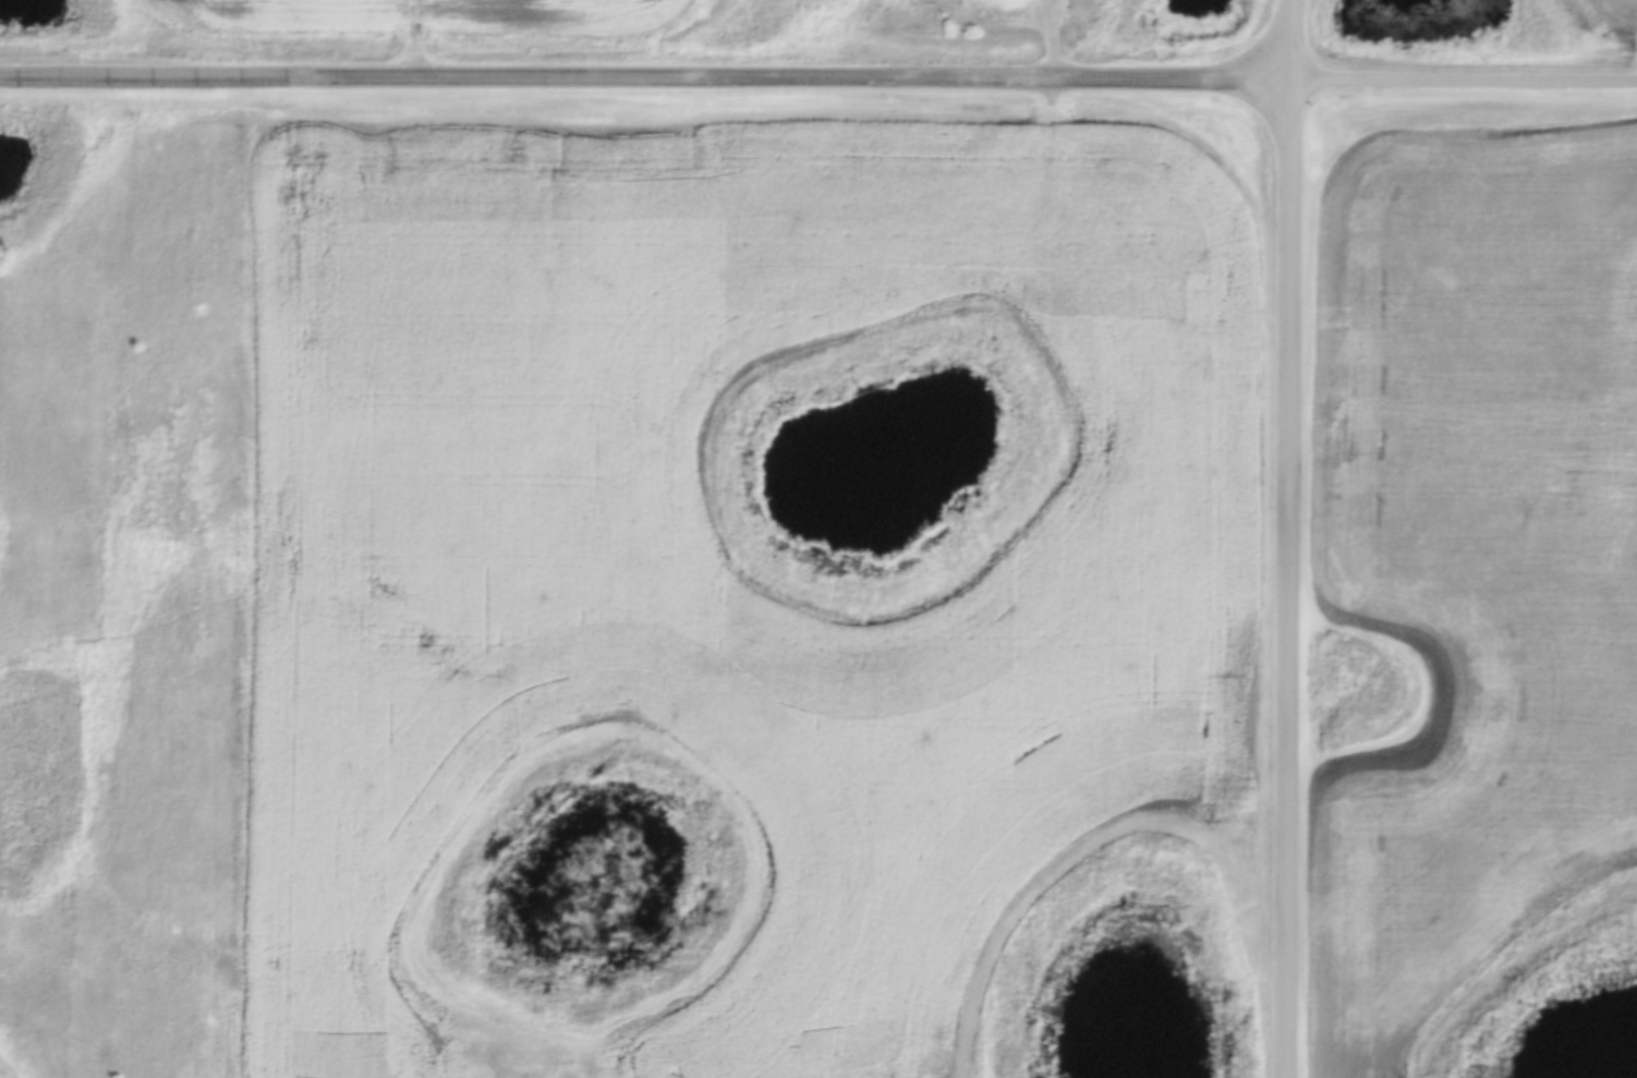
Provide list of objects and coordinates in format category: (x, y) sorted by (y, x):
road: (1300, 40)
road: (650, 77)
road: (1468, 81)
road: (1297, 579)

